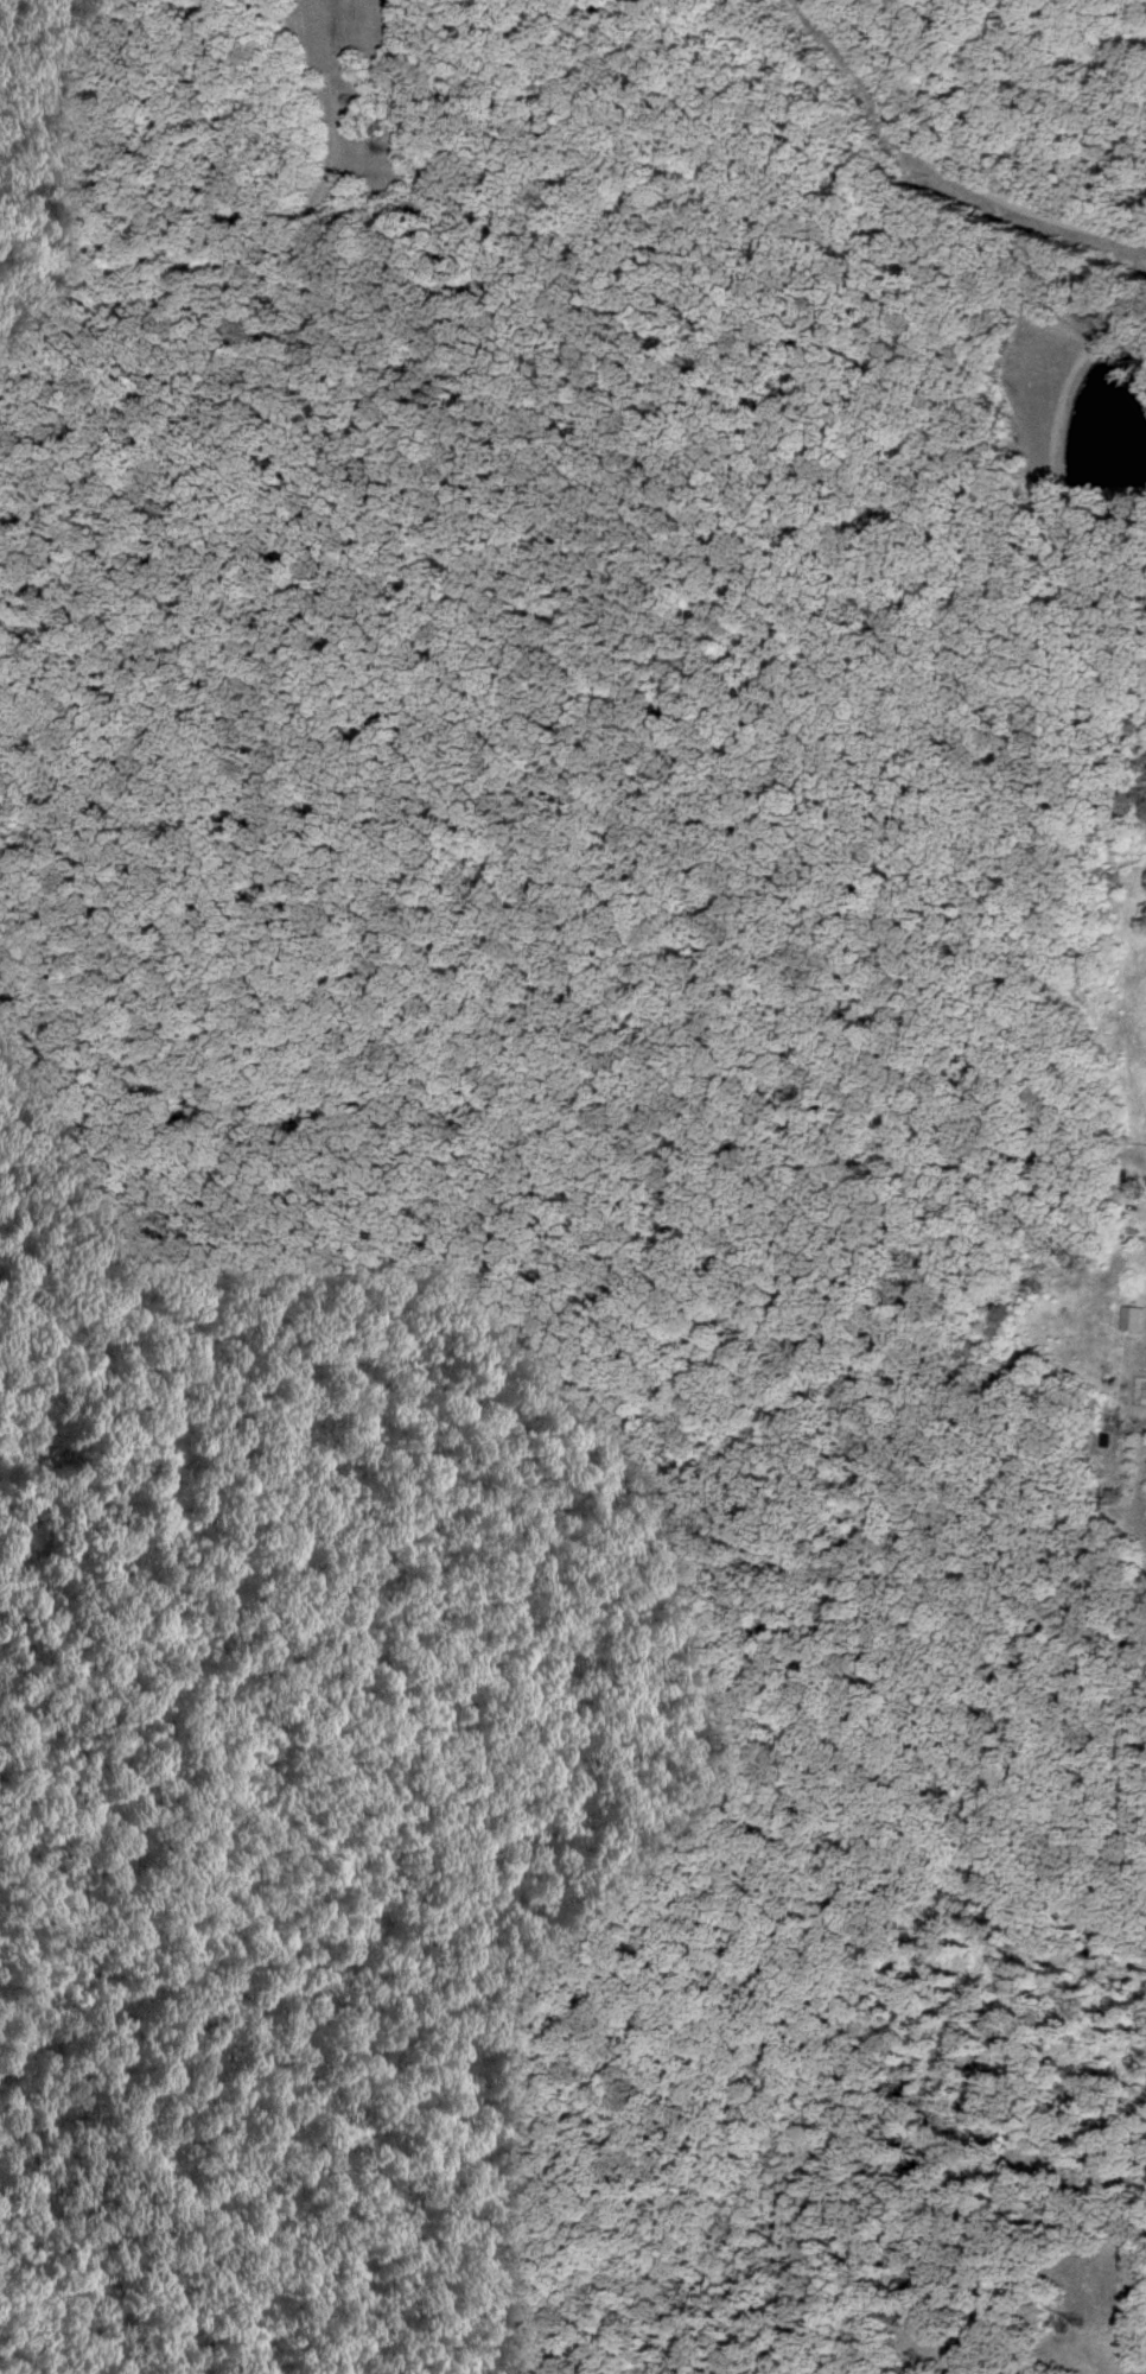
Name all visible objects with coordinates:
road: (948, 174)
building: (1135, 1320)

